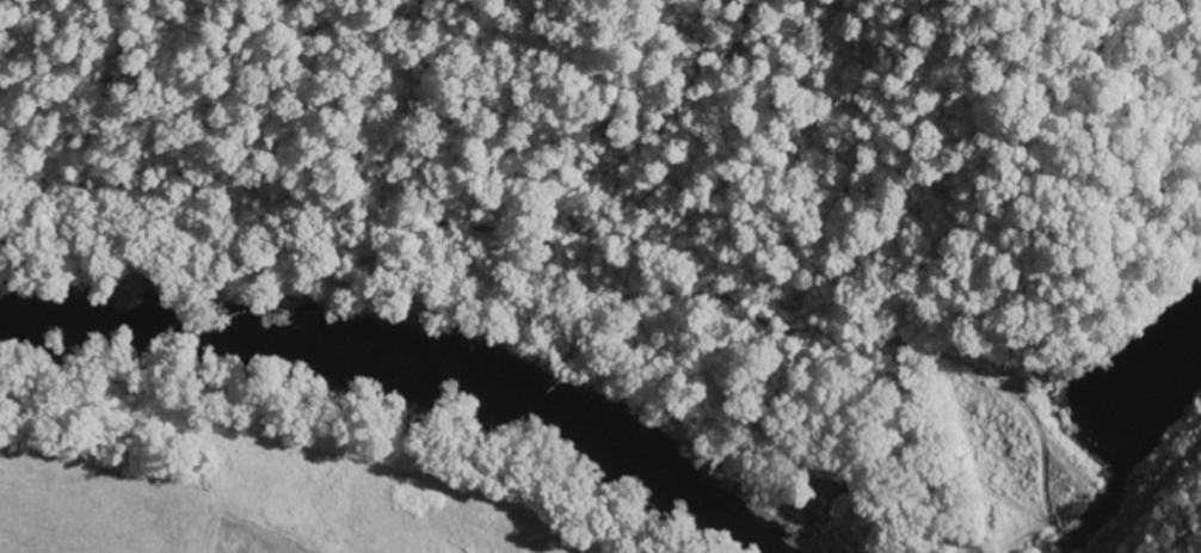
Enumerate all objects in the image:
river: (426, 375)

